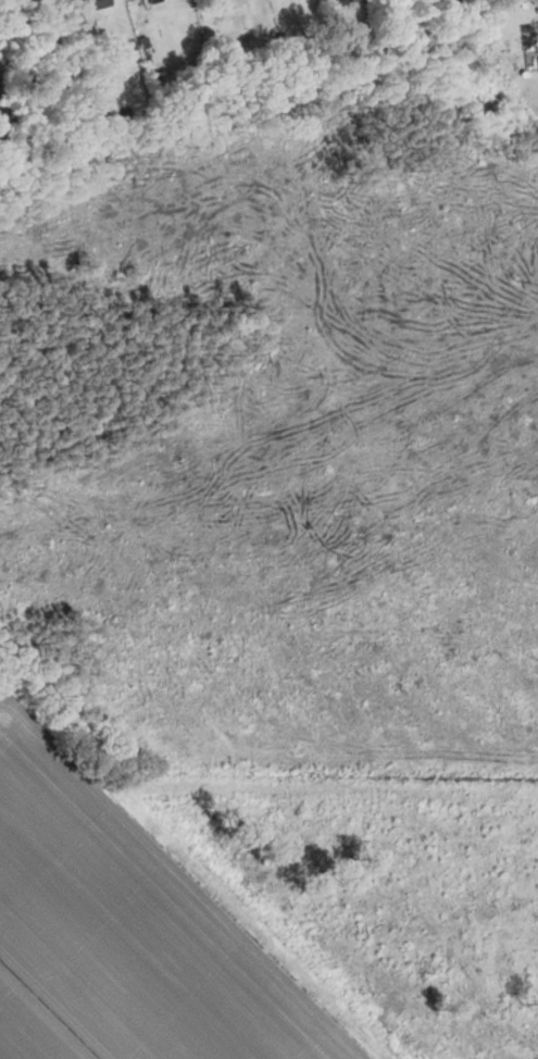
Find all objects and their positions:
building: (149, 1)
building: (85, 5)

